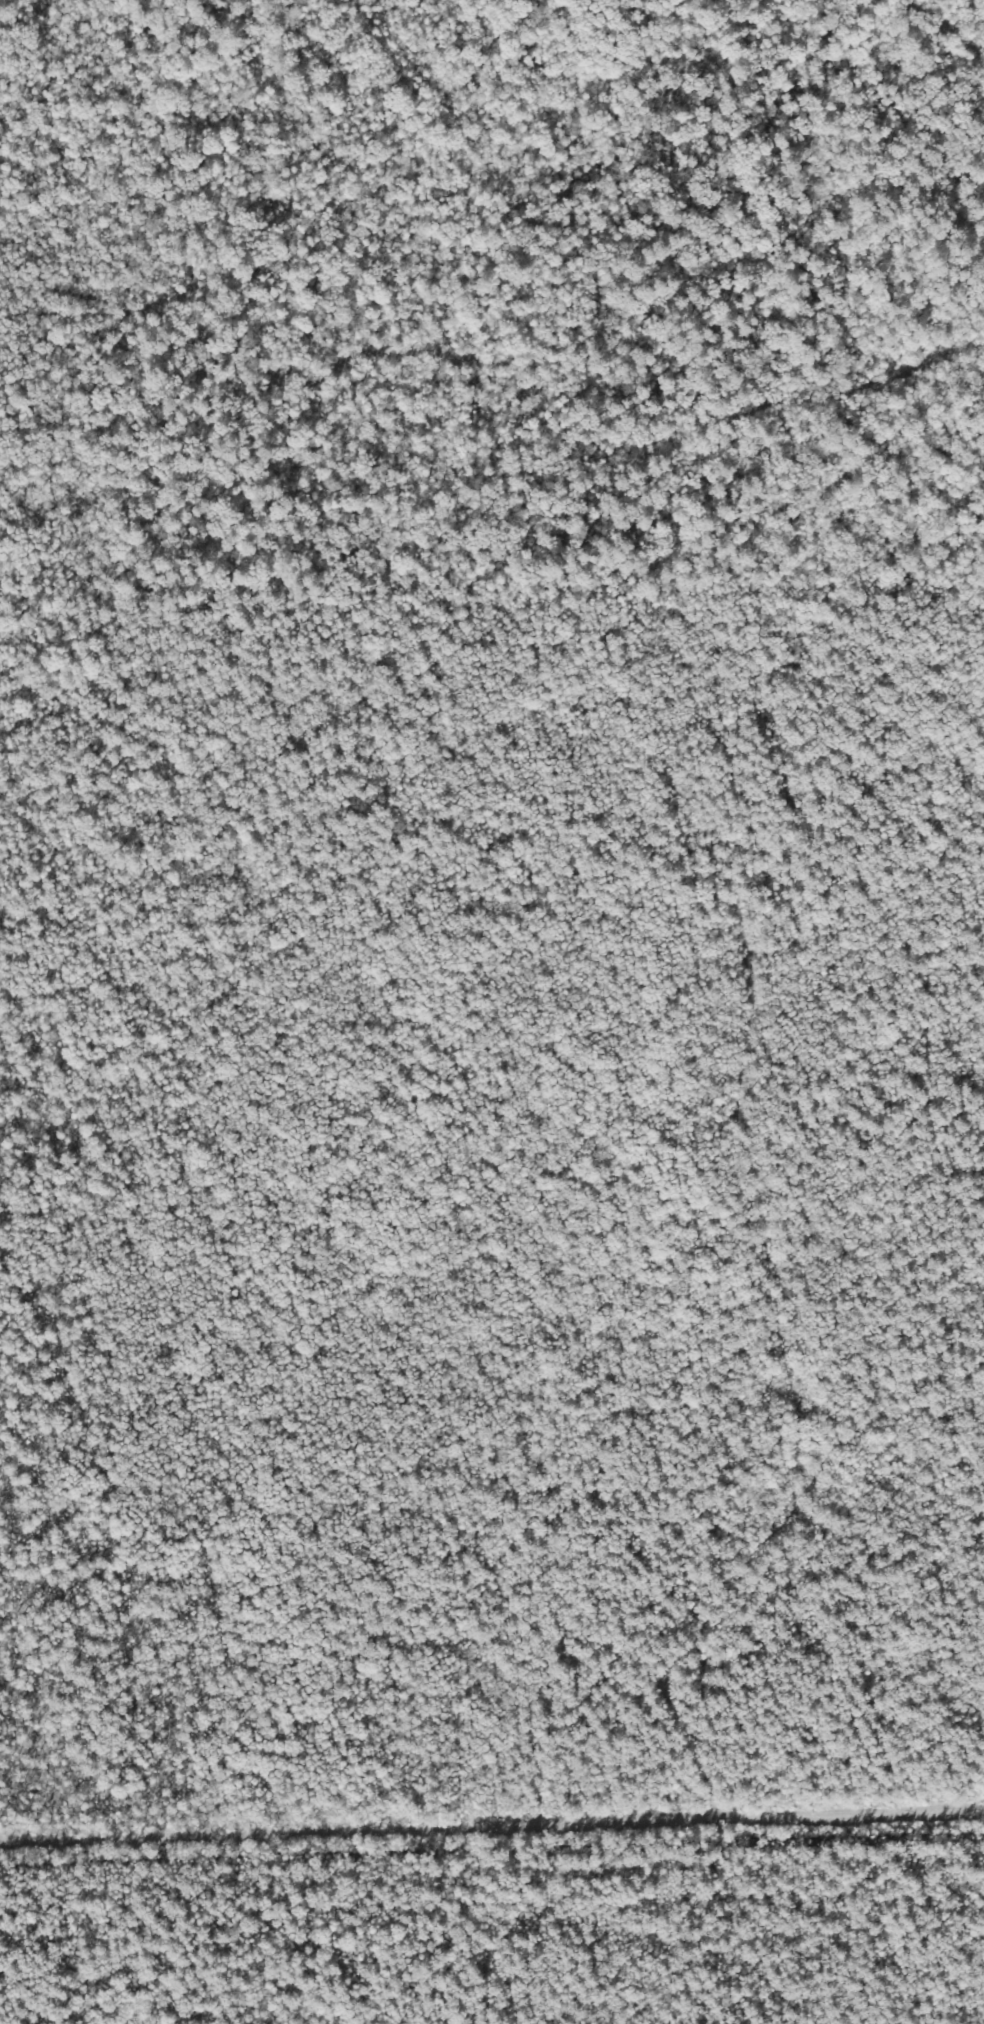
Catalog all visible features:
road: (492, 1828)

